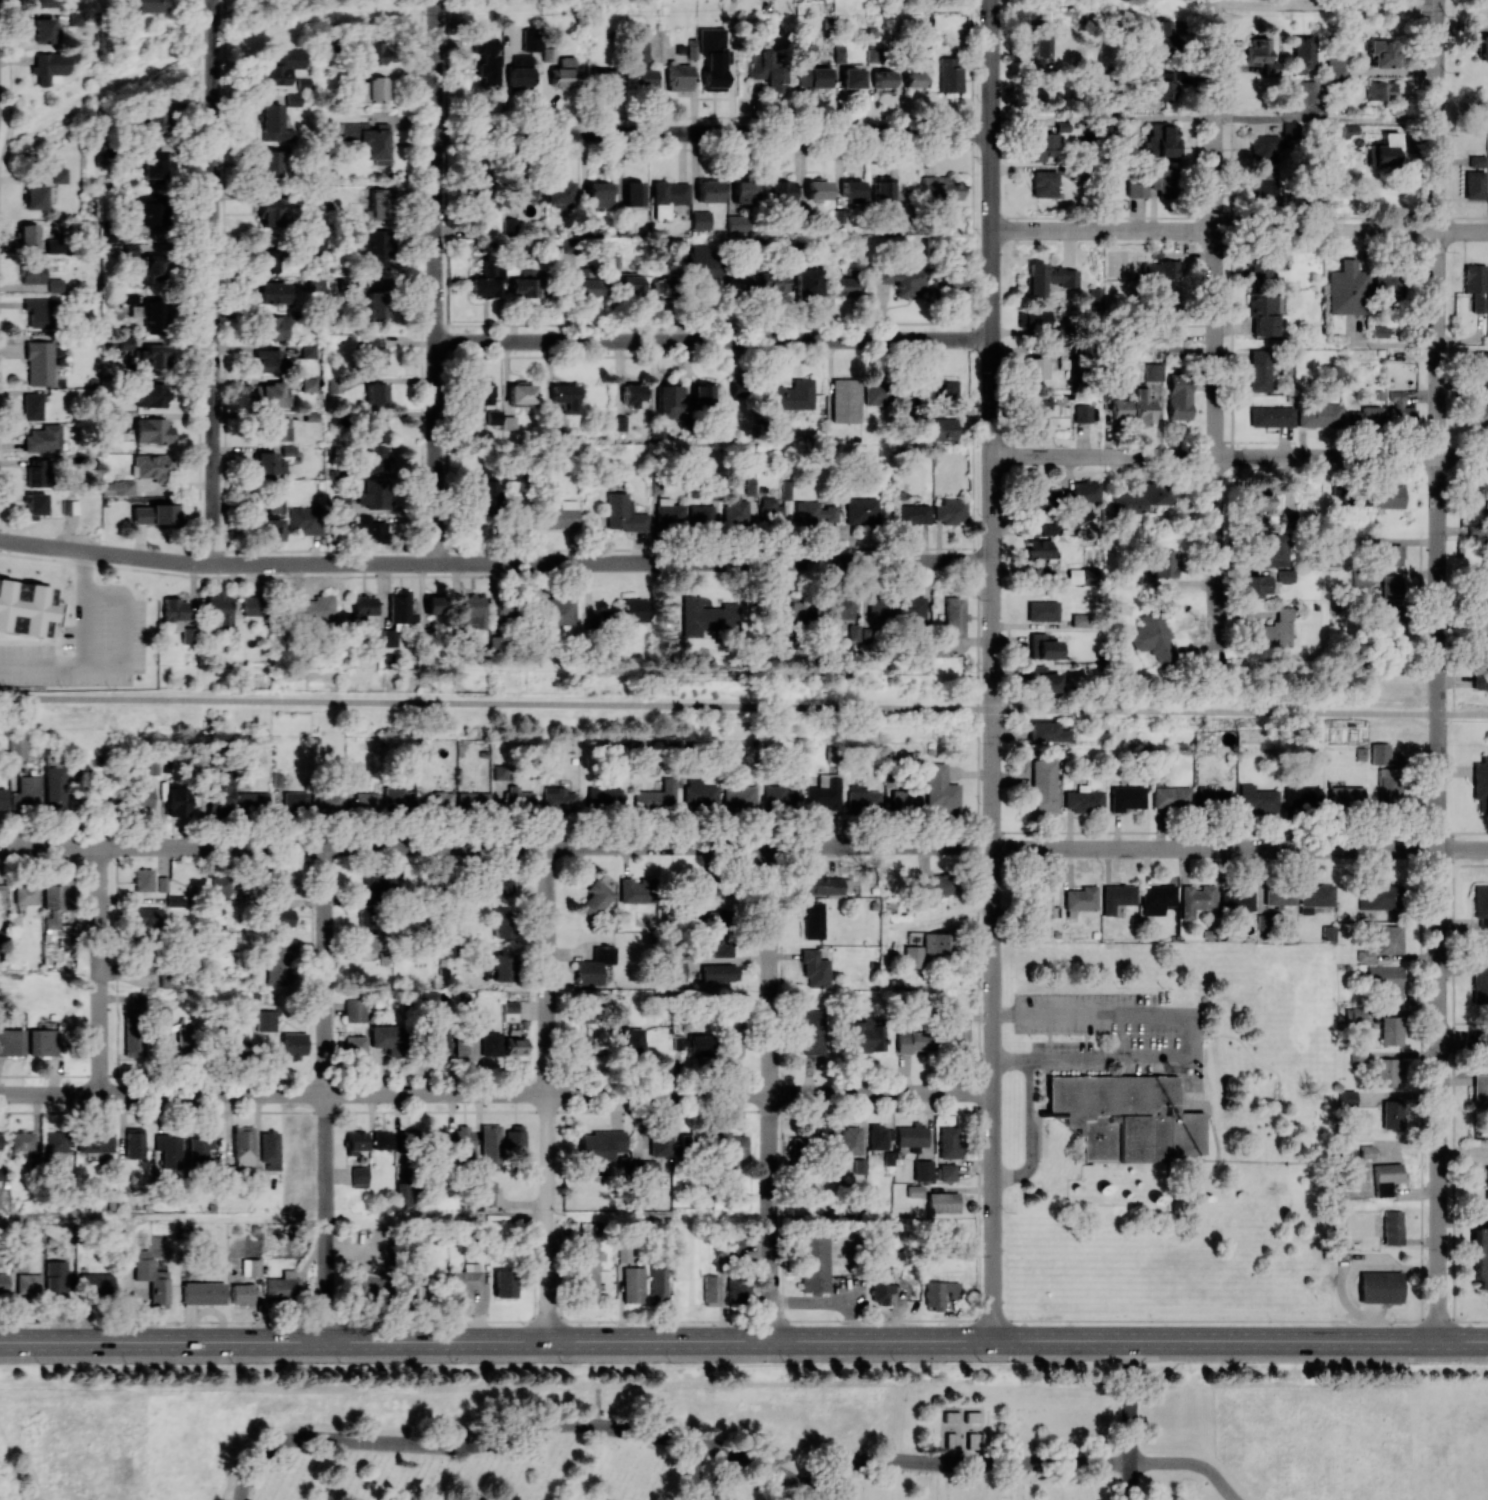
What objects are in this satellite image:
building: (46, 3)
road: (1324, 5)
building: (75, 18)
building: (45, 30)
building: (1163, 39)
building: (531, 40)
building: (1042, 44)
building: (1482, 47)
building: (373, 52)
building: (839, 53)
building: (1383, 53)
building: (1303, 54)
building: (1261, 55)
building: (712, 57)
building: (486, 59)
building: (639, 63)
building: (51, 66)
building: (282, 66)
building: (1335, 67)
building: (766, 69)
building: (521, 71)
building: (563, 72)
building: (877, 72)
building: (603, 74)
building: (950, 74)
building: (813, 76)
building: (678, 77)
building: (852, 78)
building: (913, 78)
road: (9, 79)
building: (1164, 86)
building: (372, 90)
building: (1306, 91)
building: (1381, 91)
building: (292, 99)
building: (1481, 114)
road: (1325, 117)
building: (155, 120)
building: (274, 124)
building: (1062, 126)
building: (1290, 128)
building: (1348, 129)
road: (712, 133)
building: (1113, 135)
building: (368, 139)
building: (1163, 140)
building: (1262, 146)
building: (1043, 147)
building: (1487, 149)
building: (1382, 150)
building: (1477, 160)
building: (152, 163)
building: (270, 165)
building: (59, 175)
building: (1161, 180)
building: (1264, 180)
building: (1044, 183)
building: (1474, 185)
building: (942, 187)
building: (1136, 188)
building: (852, 189)
building: (882, 189)
building: (817, 190)
building: (478, 191)
building: (520, 191)
building: (708, 191)
building: (743, 191)
building: (559, 192)
building: (599, 193)
building: (633, 193)
building: (782, 193)
building: (35, 197)
building: (668, 197)
building: (380, 203)
building: (144, 208)
building: (270, 213)
building: (700, 220)
building: (737, 224)
building: (510, 226)
building: (588, 226)
building: (474, 229)
road: (1213, 231)
road: (1462, 232)
building: (26, 233)
building: (111, 233)
building: (377, 249)
building: (268, 260)
building: (702, 265)
building: (1261, 265)
building: (148, 270)
building: (1159, 270)
building: (32, 273)
building: (1049, 277)
building: (902, 278)
building: (1474, 278)
road: (434, 279)
road: (991, 279)
building: (489, 280)
road: (199, 281)
building: (807, 281)
road: (214, 282)
building: (773, 282)
building: (843, 282)
building: (526, 283)
building: (630, 283)
building: (1385, 283)
building: (1487, 283)
building: (315, 284)
building: (586, 284)
building: (951, 284)
building: (55, 285)
building: (740, 286)
building: (660, 287)
building: (1346, 289)
building: (271, 292)
building: (1165, 293)
building: (1095, 296)
building: (135, 298)
building: (1478, 303)
building: (376, 304)
building: (39, 311)
building: (153, 313)
building: (1263, 313)
building: (1033, 319)
building: (1171, 324)
building: (276, 325)
road: (1214, 326)
building: (1379, 331)
road: (713, 341)
building: (125, 342)
building: (308, 351)
building: (376, 352)
building: (151, 355)
building: (269, 359)
building: (39, 363)
building: (1035, 368)
building: (1480, 368)
building: (1259, 370)
building: (1153, 371)
road: (1436, 373)
building: (310, 384)
building: (940, 389)
building: (875, 391)
building: (375, 393)
building: (520, 393)
building: (150, 394)
building: (481, 394)
building: (631, 394)
building: (704, 394)
building: (274, 395)
building: (791, 395)
building: (565, 396)
building: (1179, 396)
building: (671, 398)
building: (845, 400)
building: (32, 406)
building: (1145, 406)
building: (1121, 408)
building: (1399, 409)
building: (1037, 410)
building: (1082, 413)
building: (1480, 413)
building: (1319, 415)
building: (1271, 416)
building: (1371, 416)
building: (494, 417)
building: (1353, 418)
building: (276, 427)
building: (945, 428)
building: (378, 429)
building: (152, 430)
building: (555, 434)
building: (44, 438)
building: (287, 450)
building: (374, 457)
road: (1214, 457)
road: (1462, 458)
building: (268, 462)
building: (152, 467)
building: (35, 472)
building: (751, 486)
building: (117, 487)
building: (786, 489)
building: (487, 491)
building: (1082, 493)
building: (372, 496)
building: (1389, 496)
building: (1141, 497)
building: (1361, 497)
building: (1261, 498)
building: (1044, 499)
building: (34, 505)
building: (274, 505)
building: (70, 506)
building: (1487, 506)
building: (861, 510)
building: (950, 510)
building: (736, 511)
building: (770, 511)
building: (623, 513)
building: (669, 513)
building: (813, 513)
building: (913, 513)
building: (154, 514)
building: (557, 515)
building: (701, 515)
building: (303, 519)
building: (268, 529)
building: (369, 529)
building: (1038, 550)
building: (1271, 551)
building: (1391, 554)
road: (495, 559)
building: (1165, 563)
building: (1082, 575)
building: (1285, 575)
building: (1258, 585)
building: (1391, 586)
building: (1480, 597)
building: (252, 605)
building: (434, 605)
building: (911, 606)
building: (218, 608)
building: (312, 608)
building: (363, 608)
building: (400, 608)
building: (842, 608)
building: (25, 609)
building: (1042, 610)
building: (471, 611)
building: (504, 611)
building: (556, 611)
building: (627, 611)
building: (881, 611)
building: (173, 613)
building: (705, 616)
building: (793, 617)
building: (953, 617)
building: (1080, 620)
building: (1390, 624)
building: (1275, 630)
building: (854, 632)
building: (187, 635)
building: (376, 637)
building: (1152, 638)
building: (1482, 643)
building: (1042, 646)
road: (83, 648)
building: (939, 650)
building: (1045, 679)
building: (1480, 680)
road: (496, 703)
road: (1240, 712)
building: (1047, 732)
building: (17, 745)
building: (1379, 753)
building: (500, 772)
building: (1481, 784)
building: (1042, 785)
building: (1390, 785)
building: (54, 787)
building: (940, 788)
building: (219, 790)
building: (702, 792)
building: (824, 792)
building: (26, 793)
building: (741, 796)
building: (1346, 796)
building: (139, 797)
building: (604, 797)
building: (658, 797)
building: (1126, 797)
building: (1171, 797)
building: (1301, 797)
building: (2, 798)
building: (398, 798)
building: (782, 798)
building: (517, 799)
building: (1083, 799)
building: (1213, 799)
building: (1257, 799)
building: (558, 800)
building: (862, 800)
building: (905, 800)
building: (177, 801)
building: (253, 801)
building: (295, 801)
building: (326, 801)
building: (366, 801)
building: (437, 801)
building: (473, 802)
road: (658, 845)
road: (162, 846)
road: (1239, 847)
building: (143, 879)
building: (281, 881)
building: (162, 884)
building: (499, 884)
building: (937, 884)
building: (379, 885)
building: (708, 885)
building: (824, 885)
building: (222, 886)
building: (635, 889)
building: (26, 894)
building: (1279, 895)
building: (1377, 896)
building: (1117, 897)
building: (1315, 897)
building: (596, 898)
building: (1081, 898)
building: (1157, 899)
building: (1196, 900)
building: (1237, 900)
building: (1041, 903)
building: (1481, 903)
building: (53, 904)
building: (2, 915)
building: (366, 915)
building: (147, 916)
building: (278, 918)
building: (718, 918)
building: (812, 920)
building: (502, 923)
building: (1041, 928)
building: (1389, 939)
building: (935, 942)
building: (371, 943)
building: (720, 944)
road: (992, 949)
building: (913, 956)
building: (278, 962)
building: (594, 965)
building: (499, 967)
building: (815, 969)
road: (97, 970)
building: (674, 970)
building: (719, 972)
building: (170, 981)
building: (1386, 981)
building: (1480, 983)
building: (430, 998)
building: (137, 999)
building: (355, 1010)
building: (510, 1011)
building: (1357, 1015)
building: (584, 1016)
building: (481, 1019)
building: (266, 1020)
building: (1390, 1030)
building: (812, 1032)
building: (958, 1034)
building: (866, 1035)
building: (385, 1038)
building: (914, 1038)
road: (1186, 1038)
building: (187, 1039)
road: (1463, 1039)
building: (134, 1040)
building: (632, 1041)
building: (11, 1042)
building: (43, 1042)
building: (677, 1042)
building: (491, 1043)
road: (1439, 1043)
building: (235, 1044)
building: (293, 1044)
building: (698, 1044)
building: (355, 1045)
building: (437, 1045)
building: (464, 1046)
building: (515, 1046)
building: (580, 1046)
building: (733, 1046)
building: (1358, 1055)
building: (1388, 1072)
building: (1480, 1090)
road: (547, 1092)
road: (770, 1092)
road: (325, 1093)
road: (496, 1093)
building: (1346, 1098)
building: (1390, 1114)
building: (1123, 1117)
road: (1030, 1134)
building: (823, 1136)
building: (878, 1136)
building: (911, 1136)
building: (383, 1139)
building: (514, 1140)
building: (850, 1140)
building: (22, 1141)
building: (96, 1141)
building: (660, 1141)
building: (135, 1142)
building: (355, 1142)
building: (949, 1142)
building: (463, 1143)
building: (490, 1143)
building: (56, 1144)
building: (601, 1144)
building: (797, 1144)
building: (242, 1145)
building: (729, 1145)
building: (199, 1146)
building: (169, 1149)
building: (269, 1149)
building: (1366, 1151)
road: (1463, 1154)
building: (923, 1170)
building: (645, 1171)
building: (947, 1172)
building: (359, 1176)
building: (1386, 1177)
building: (915, 1191)
building: (485, 1192)
building: (942, 1201)
building: (0, 1205)
building: (1392, 1227)
building: (734, 1248)
building: (1481, 1249)
building: (624, 1253)
building: (814, 1264)
building: (249, 1266)
building: (588, 1271)
building: (55, 1277)
building: (152, 1278)
building: (466, 1280)
building: (660, 1280)
building: (3, 1282)
building: (96, 1282)
building: (504, 1283)
building: (29, 1284)
building: (633, 1284)
building: (881, 1286)
building: (281, 1287)
building: (1380, 1287)
building: (738, 1289)
building: (711, 1290)
building: (203, 1293)
building: (241, 1293)
building: (939, 1293)
road: (743, 1340)
road: (743, 1358)
road: (1132, 1401)
building: (955, 1416)
building: (972, 1416)
park: (721, 1430)
building: (955, 1441)
road: (454, 1446)
road: (756, 1458)
road: (966, 1460)
road: (1191, 1462)
road: (695, 1470)
road: (1132, 1481)
road: (814, 1494)

